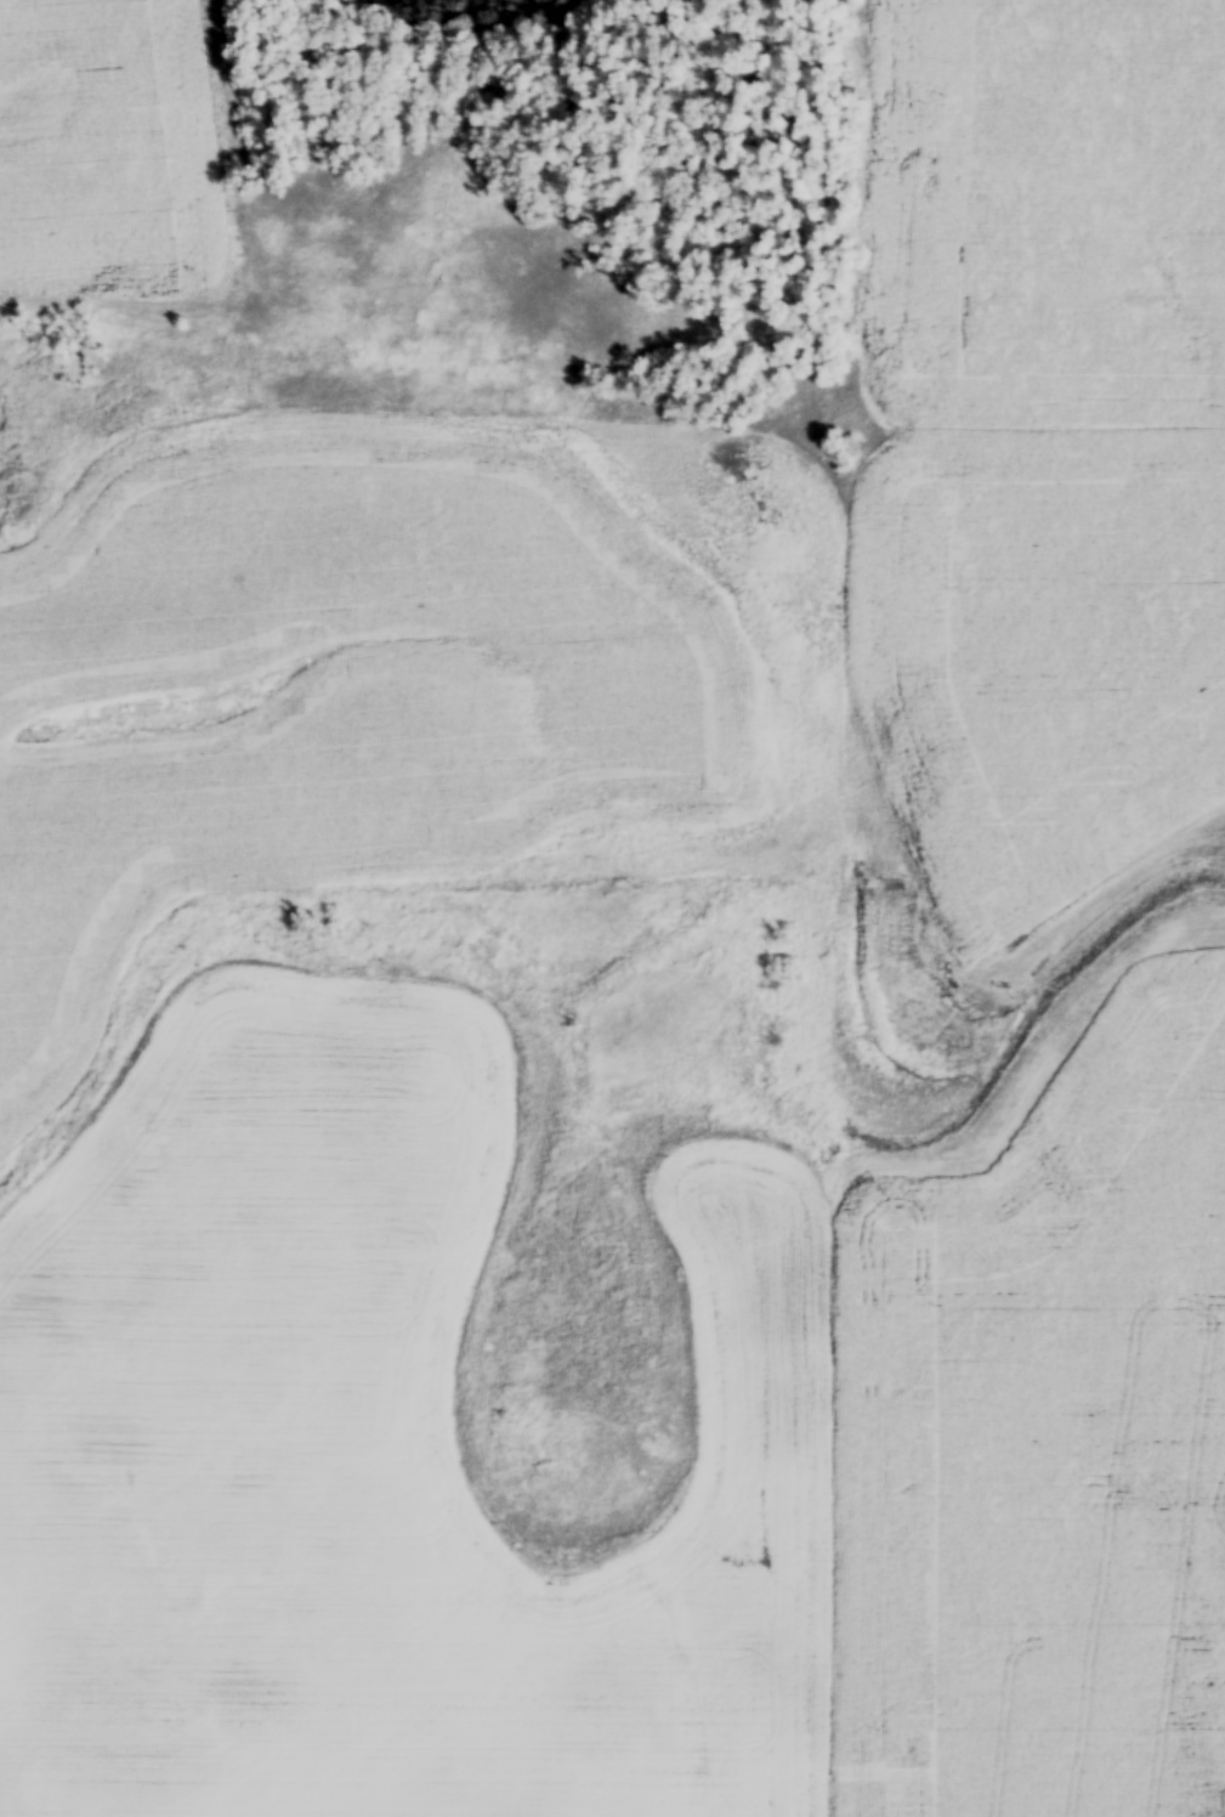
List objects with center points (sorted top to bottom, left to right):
road: (566, 415)

